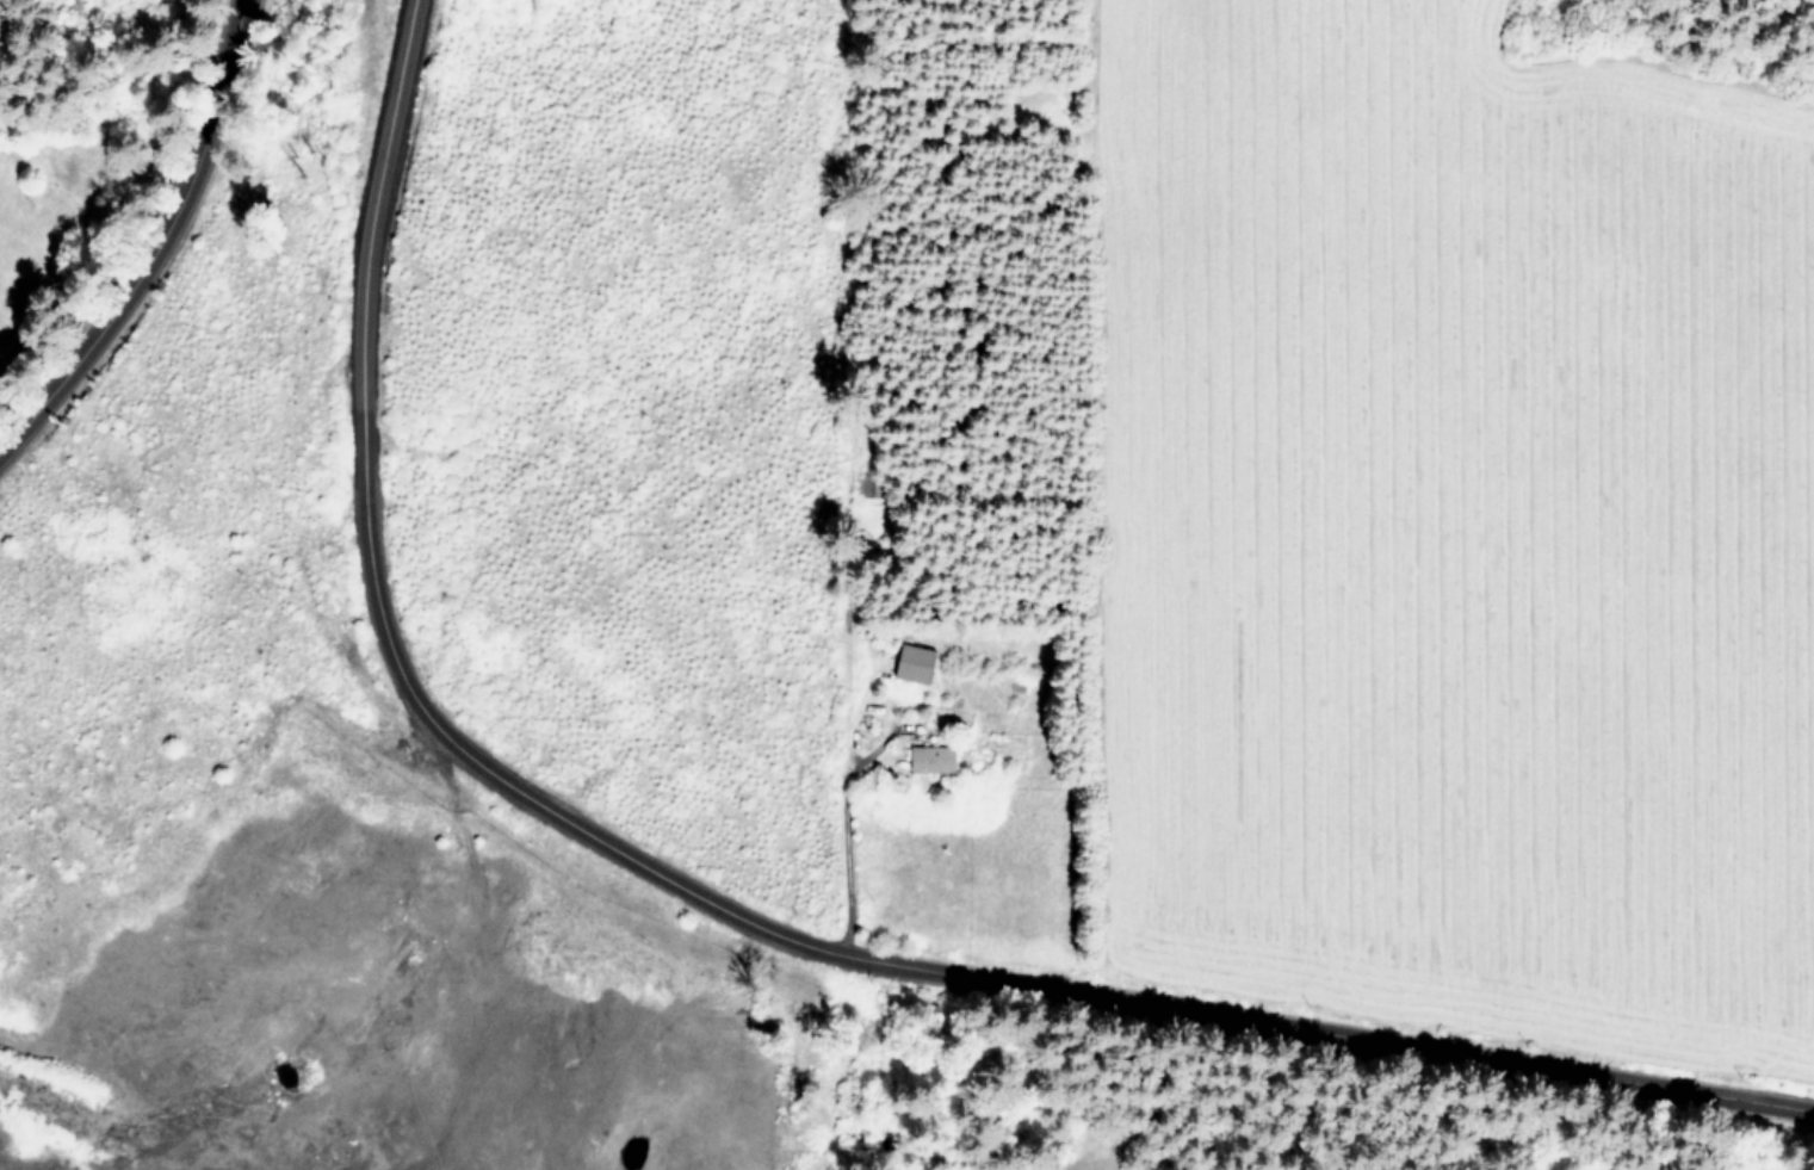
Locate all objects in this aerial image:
road: (150, 234)
building: (917, 663)
road: (832, 753)
building: (934, 759)
road: (731, 910)

